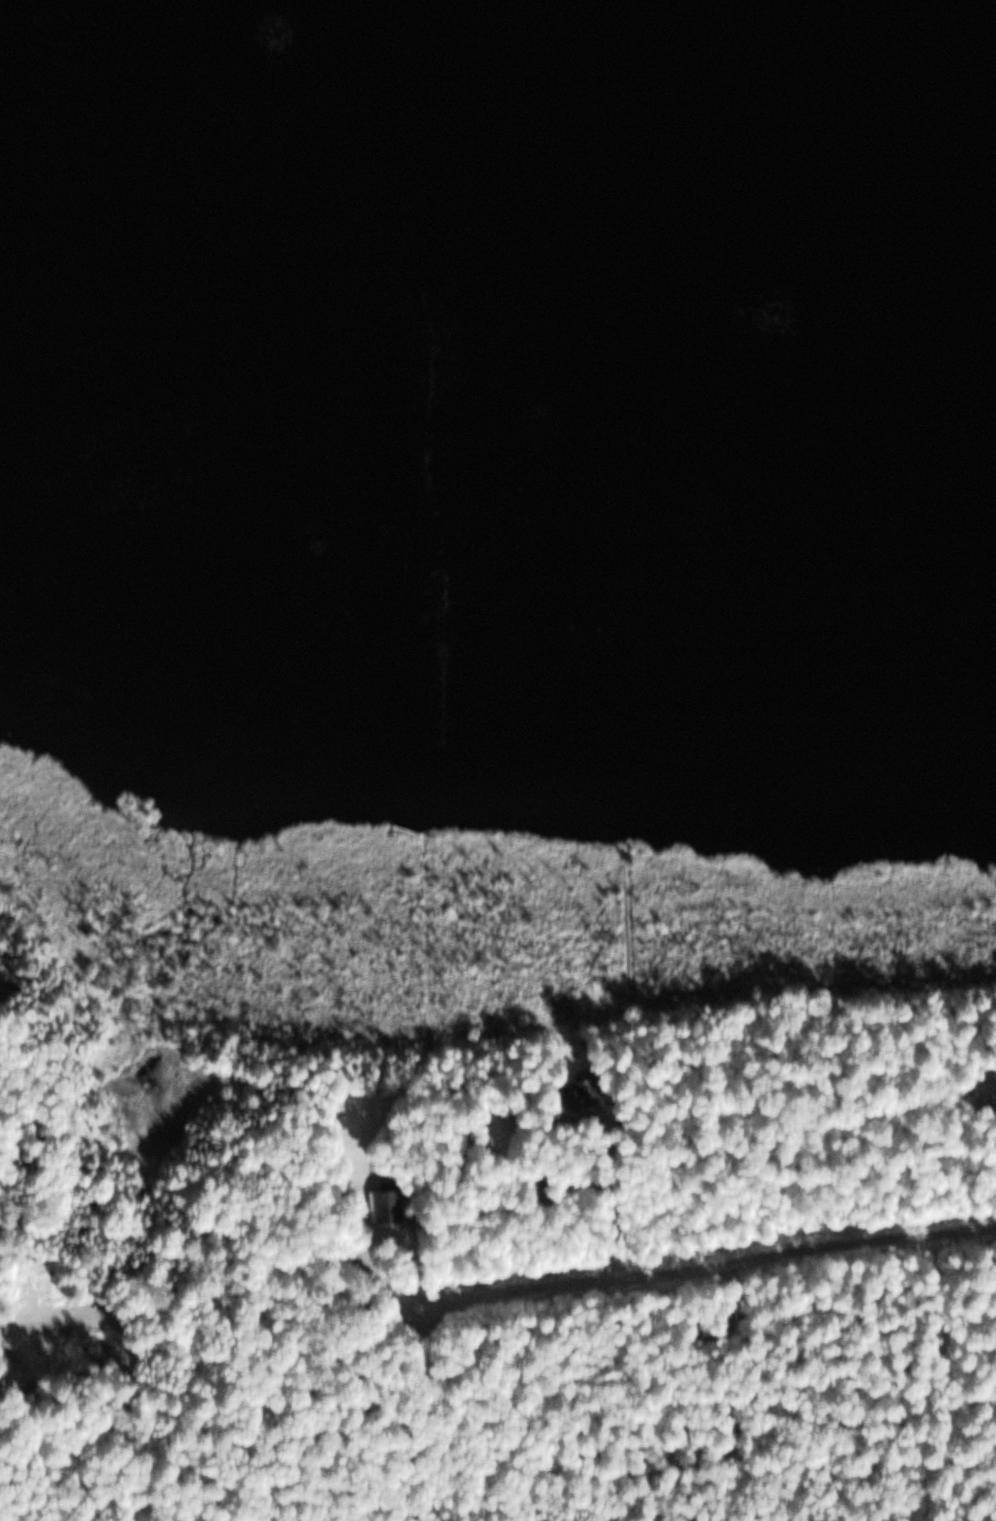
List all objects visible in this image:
building: (981, 1091)
building: (578, 1095)
building: (381, 1202)
road: (499, 1293)

